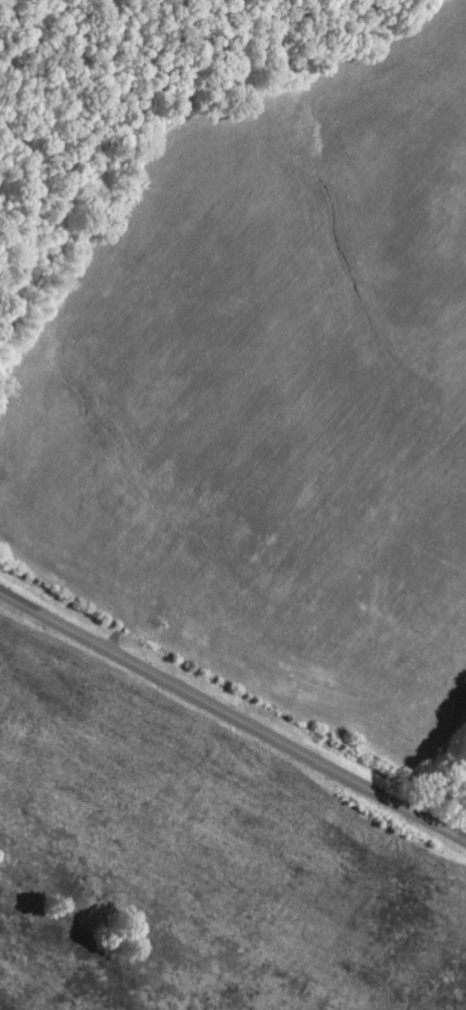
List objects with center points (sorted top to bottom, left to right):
road: (232, 716)

